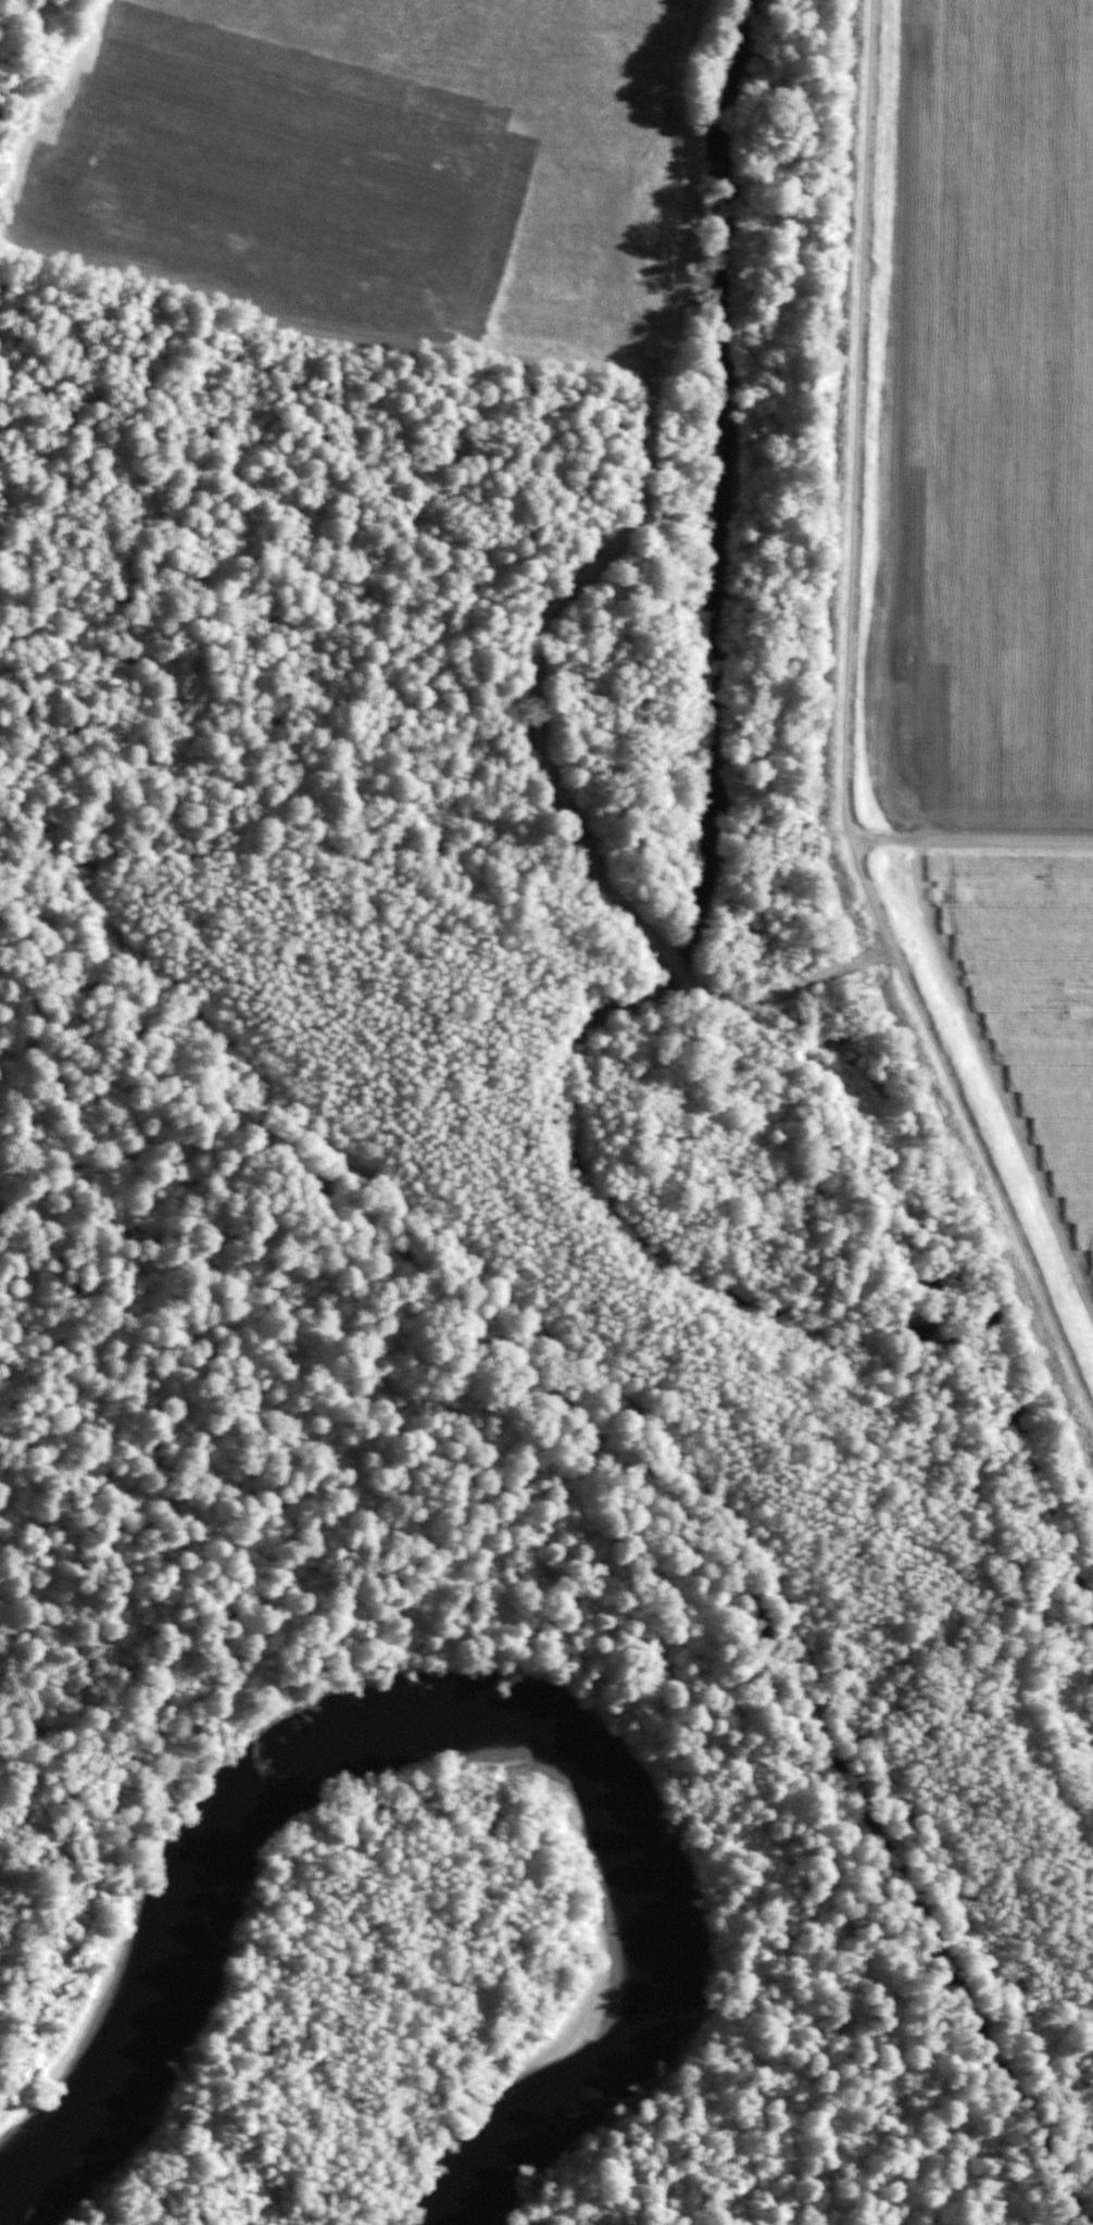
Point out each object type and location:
road: (846, 732)
road: (553, 792)
road: (972, 841)
river: (448, 1721)

